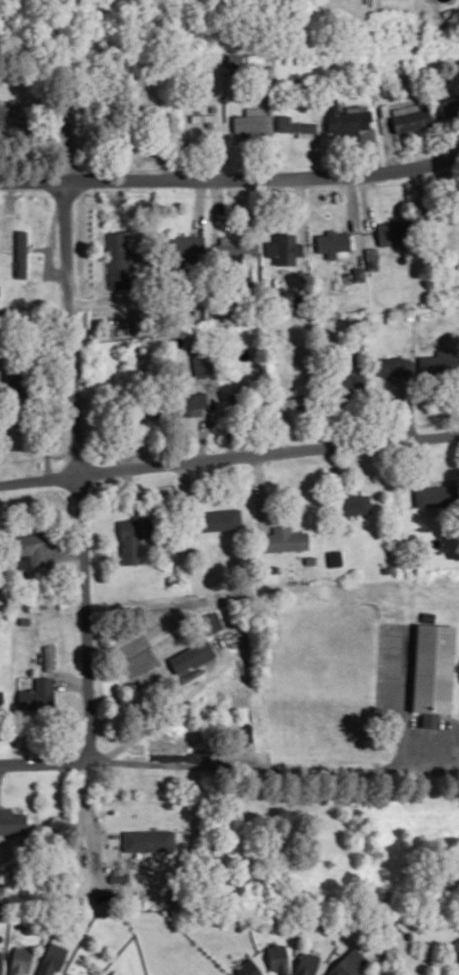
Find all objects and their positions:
building: (255, 59)
building: (265, 73)
building: (449, 107)
building: (11, 116)
building: (411, 117)
building: (250, 121)
building: (349, 121)
building: (295, 126)
road: (230, 180)
building: (393, 232)
building: (186, 244)
building: (334, 245)
building: (235, 246)
building: (284, 248)
building: (21, 254)
building: (371, 258)
building: (118, 259)
building: (237, 261)
building: (358, 274)
building: (439, 362)
building: (203, 364)
building: (395, 366)
building: (349, 377)
building: (190, 404)
road: (77, 438)
road: (229, 457)
street lamp: (240, 465)
road: (261, 492)
building: (436, 495)
building: (353, 503)
building: (219, 519)
building: (283, 539)
building: (131, 541)
building: (32, 550)
building: (166, 554)
building: (335, 558)
building: (271, 573)
building: (211, 622)
building: (191, 656)
building: (432, 672)
building: (37, 695)
road: (147, 724)
road: (36, 763)
road: (270, 765)
building: (11, 821)
road: (88, 822)
road: (103, 837)
building: (148, 839)
building: (119, 877)
building: (455, 948)
building: (52, 958)
building: (277, 958)
building: (20, 961)
building: (1, 962)
building: (306, 963)
building: (348, 963)
building: (247, 968)
building: (67, 974)
building: (111, 974)

